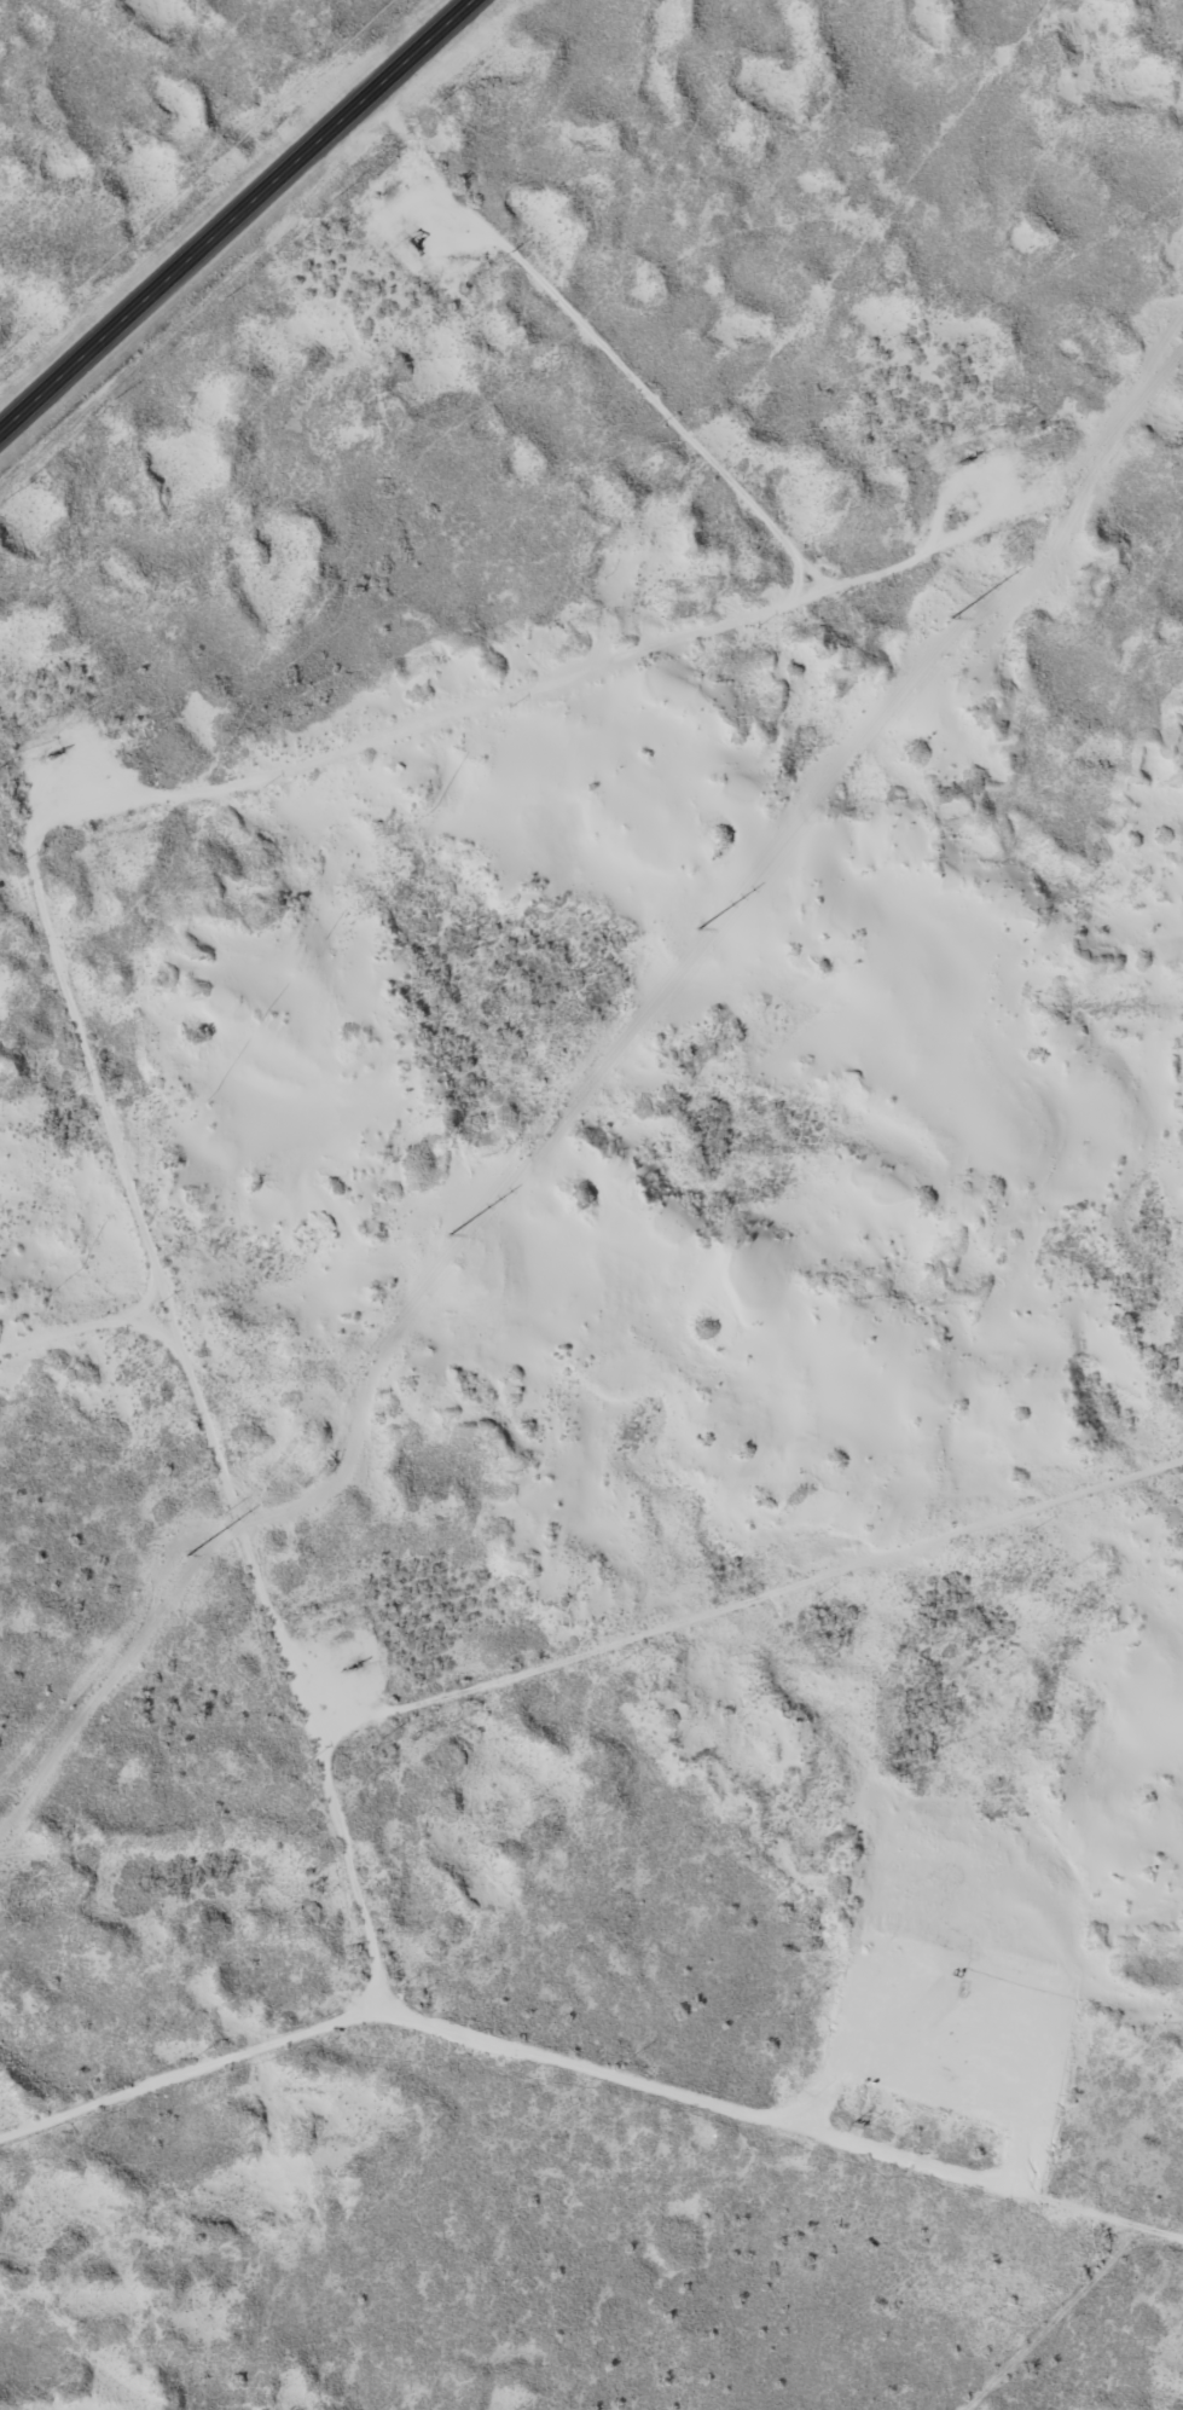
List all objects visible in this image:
road: (238, 218)
power tower: (968, 633)
power tower: (704, 954)
power tower: (454, 1265)
power tower: (201, 1575)

